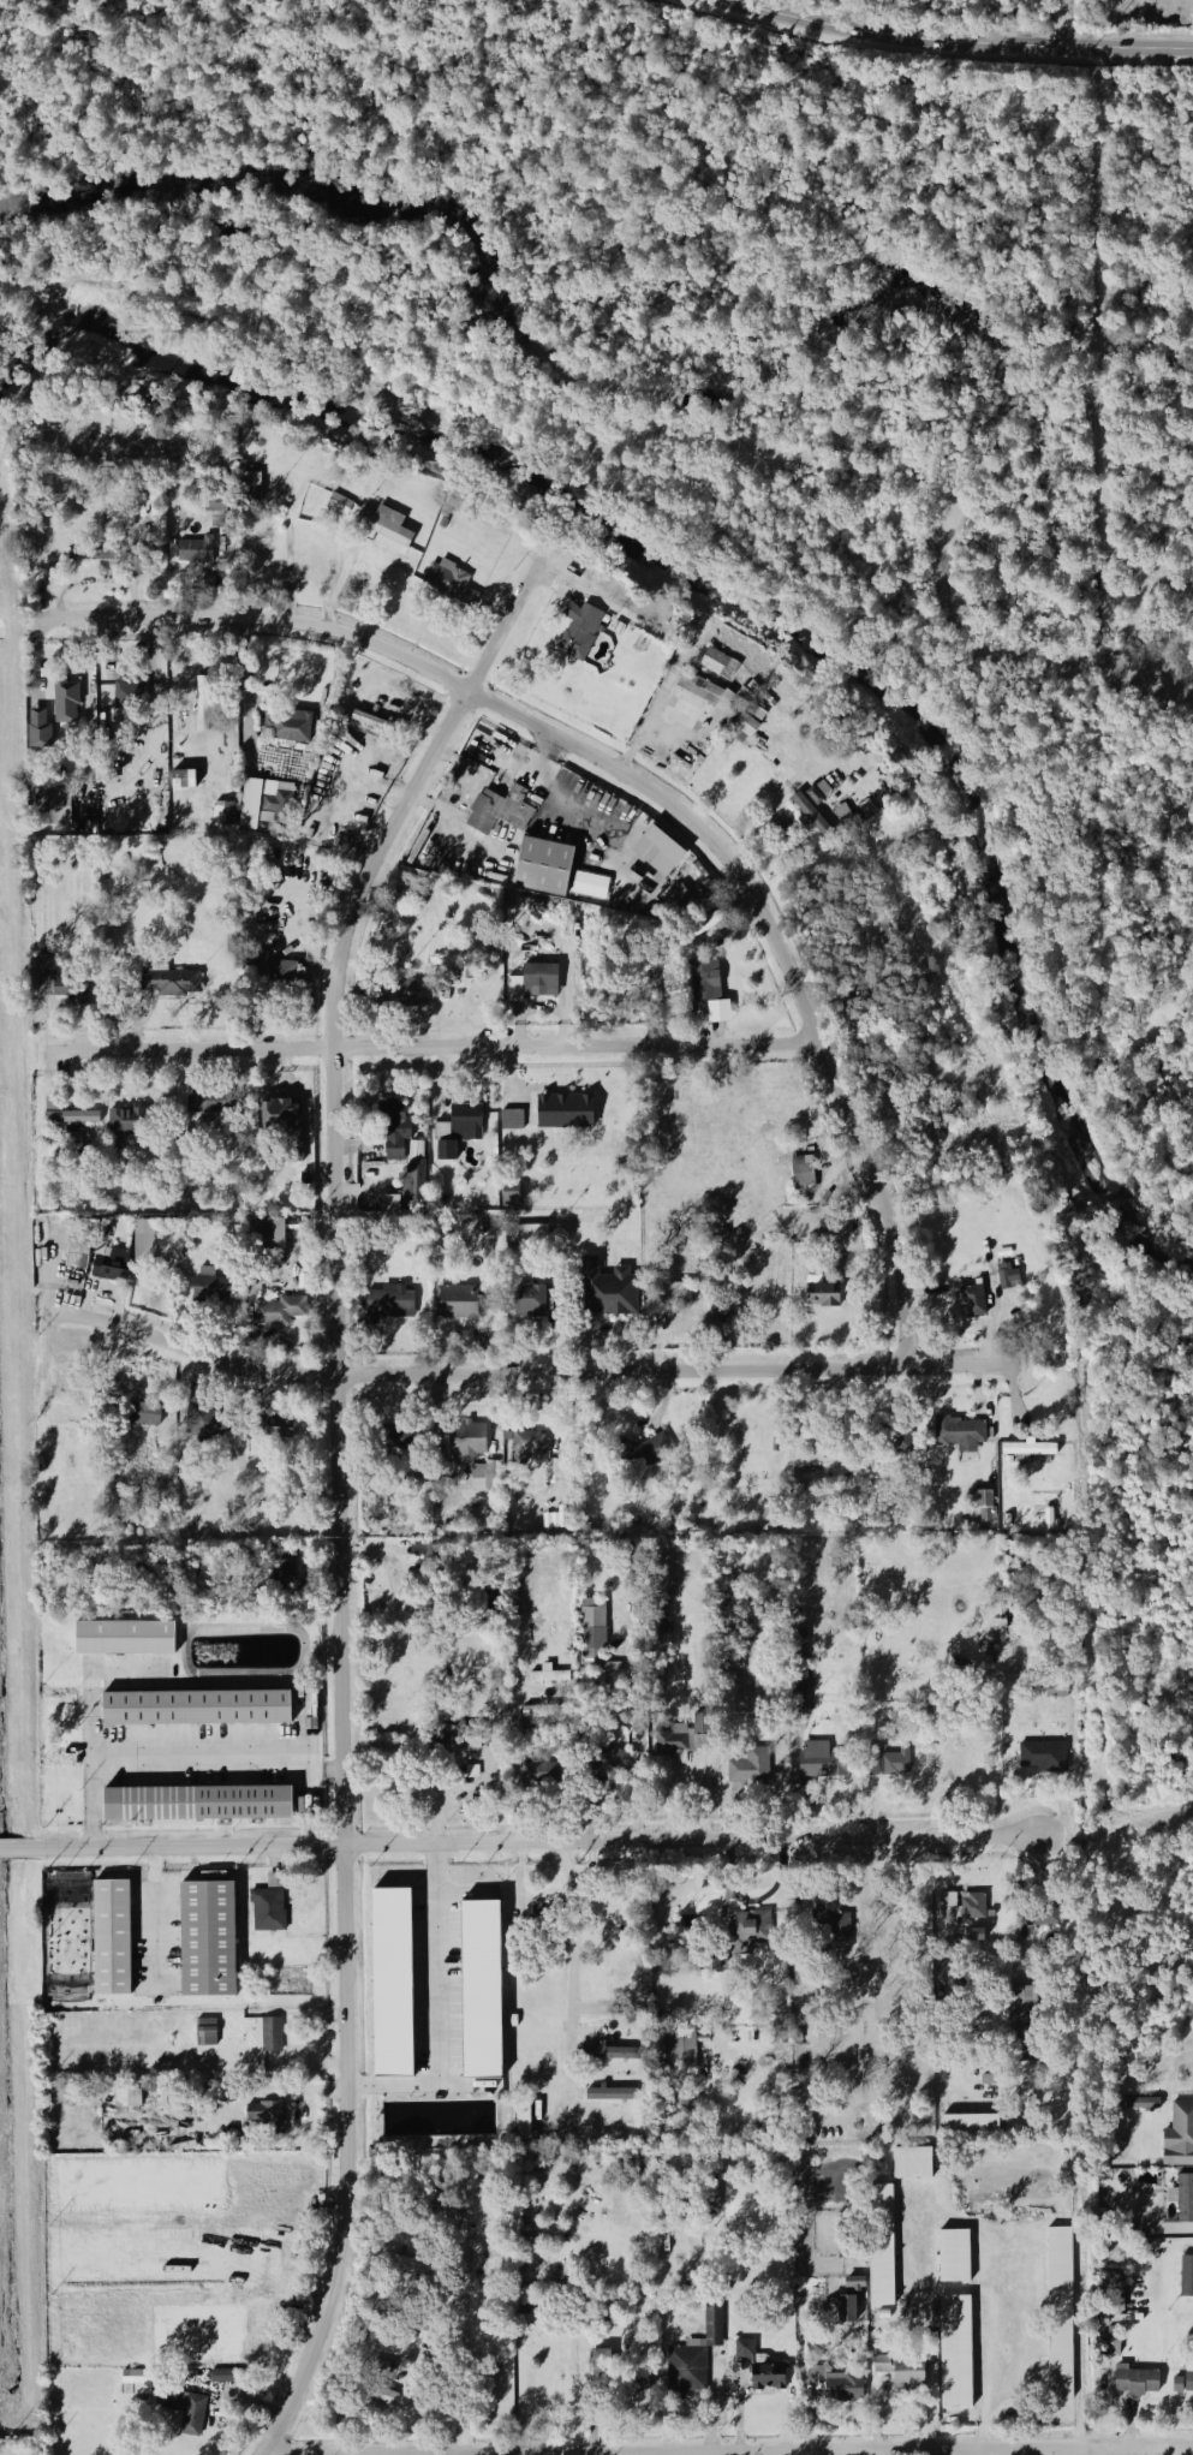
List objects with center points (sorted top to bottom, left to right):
road: (956, 41)
building: (211, 503)
building: (335, 503)
building: (380, 526)
building: (192, 550)
road: (290, 556)
building: (105, 559)
building: (448, 583)
river: (747, 606)
building: (575, 636)
building: (715, 663)
building: (696, 687)
building: (127, 691)
building: (62, 702)
building: (722, 702)
building: (753, 713)
building: (198, 715)
building: (366, 721)
building: (742, 725)
building: (285, 726)
building: (35, 731)
building: (177, 779)
road: (648, 788)
building: (260, 800)
building: (48, 806)
building: (815, 810)
building: (496, 811)
building: (220, 815)
building: (538, 866)
building: (589, 883)
building: (699, 928)
building: (270, 967)
building: (40, 976)
building: (168, 982)
building: (702, 982)
building: (399, 991)
road: (430, 1047)
building: (560, 1112)
building: (270, 1115)
building: (67, 1116)
building: (509, 1120)
building: (121, 1122)
building: (454, 1131)
building: (393, 1140)
building: (800, 1174)
building: (410, 1175)
building: (508, 1196)
building: (521, 1235)
building: (147, 1243)
building: (73, 1255)
building: (107, 1267)
building: (1003, 1280)
building: (202, 1286)
building: (818, 1292)
building: (670, 1294)
building: (526, 1301)
building: (968, 1301)
building: (388, 1304)
building: (454, 1304)
building: (282, 1311)
road: (527, 1372)
building: (143, 1416)
building: (201, 1423)
building: (959, 1435)
building: (466, 1441)
building: (524, 1447)
building: (1024, 1449)
building: (643, 1450)
building: (487, 1474)
road: (338, 1480)
building: (978, 1500)
building: (124, 1635)
building: (591, 1638)
building: (544, 1676)
building: (196, 1708)
road: (515, 1750)
building: (1040, 1757)
building: (614, 1760)
road: (172, 1762)
building: (815, 1762)
building: (747, 1769)
building: (192, 1805)
road: (519, 1843)
building: (962, 1906)
building: (266, 1911)
road: (151, 1915)
building: (829, 1929)
building: (744, 1932)
building: (108, 1939)
building: (204, 1941)
road: (567, 1968)
building: (392, 1983)
building: (482, 1990)
road: (437, 2007)
building: (1018, 2008)
building: (203, 2033)
building: (272, 2034)
building: (678, 2052)
building: (607, 2055)
building: (609, 2095)
building: (1141, 2104)
building: (258, 2113)
building: (523, 2122)
building: (970, 2125)
building: (1177, 2137)
building: (912, 2163)
building: (262, 2183)
building: (1185, 2198)
road: (985, 2233)
building: (881, 2245)
building: (241, 2248)
building: (953, 2254)
building: (402, 2264)
building: (199, 2274)
building: (1186, 2276)
building: (849, 2283)
building: (1058, 2311)
building: (714, 2324)
building: (238, 2328)
road: (460, 2331)
building: (955, 2352)
building: (754, 2368)
building: (900, 2371)
building: (815, 2372)
building: (225, 2374)
building: (1133, 2382)
building: (1186, 2383)
building: (387, 2399)
building: (186, 2425)
road: (726, 2449)
road: (974, 2451)
road: (684, 2453)

